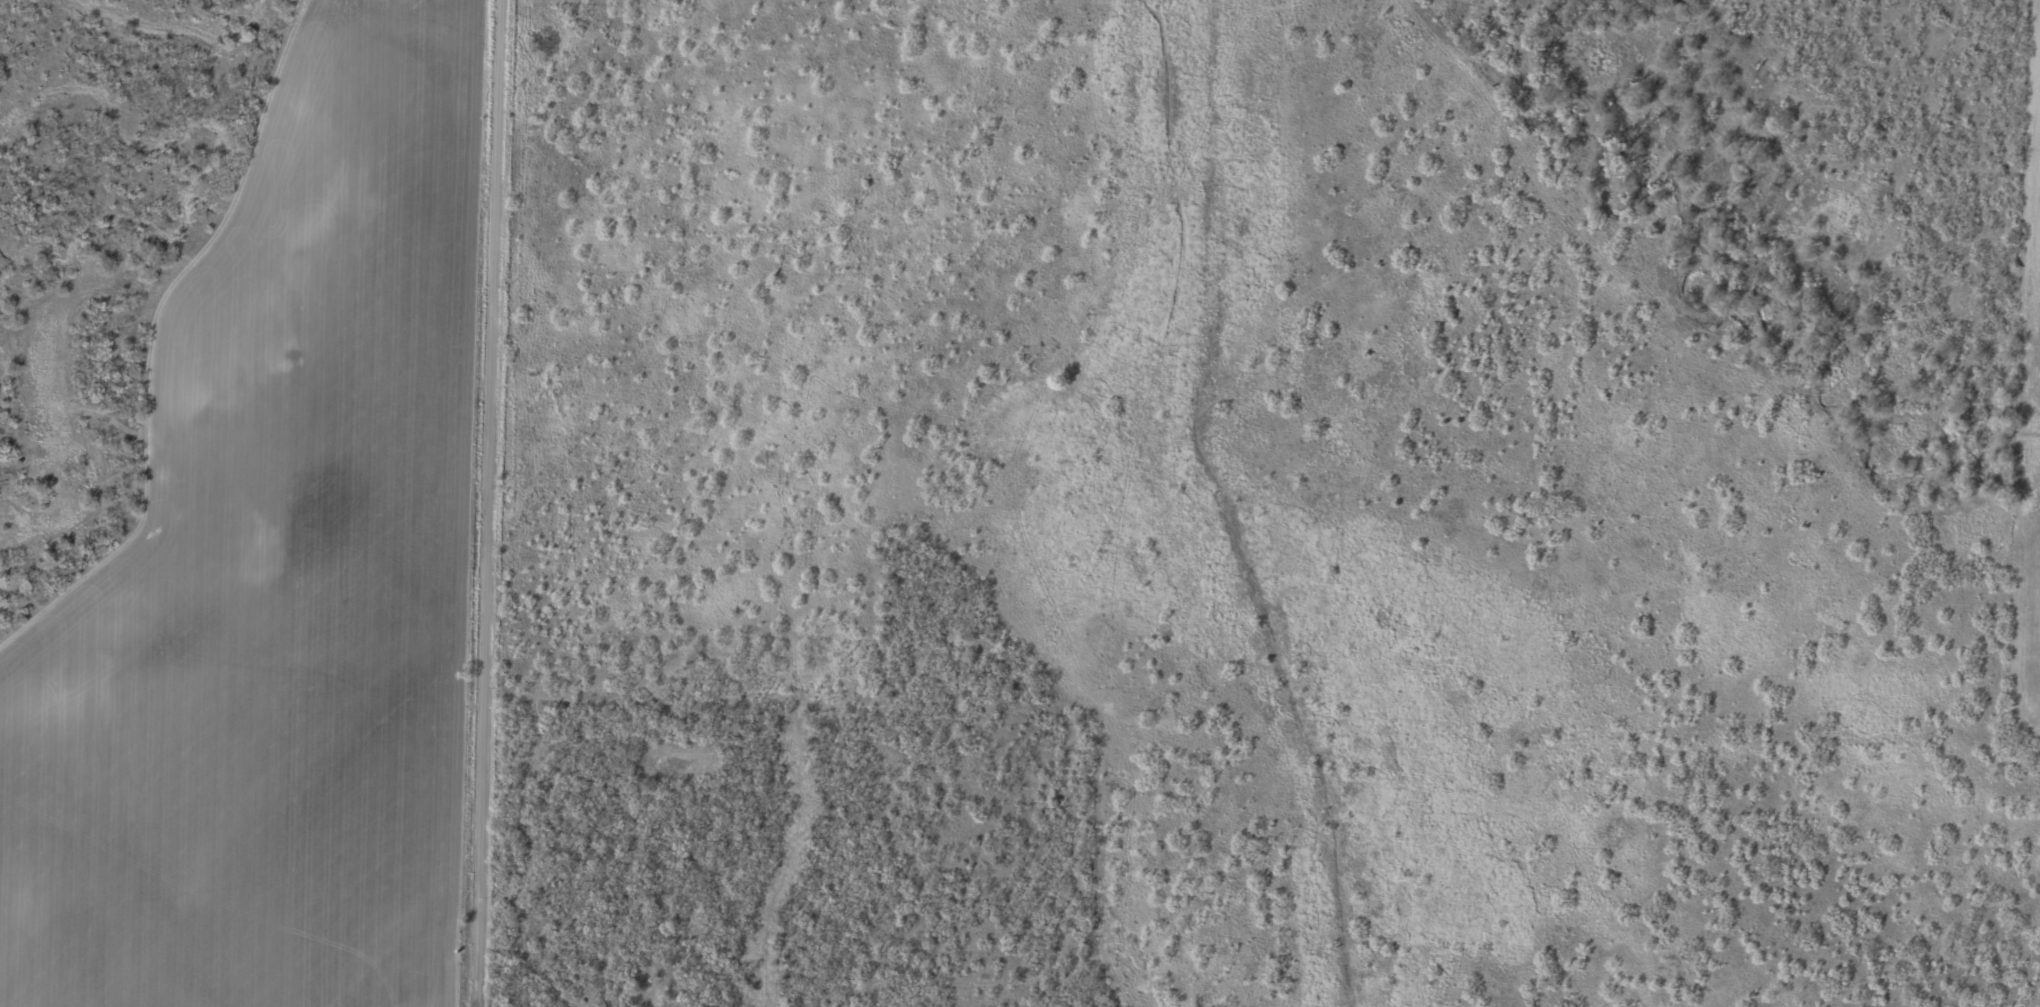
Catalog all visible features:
road: (489, 503)

